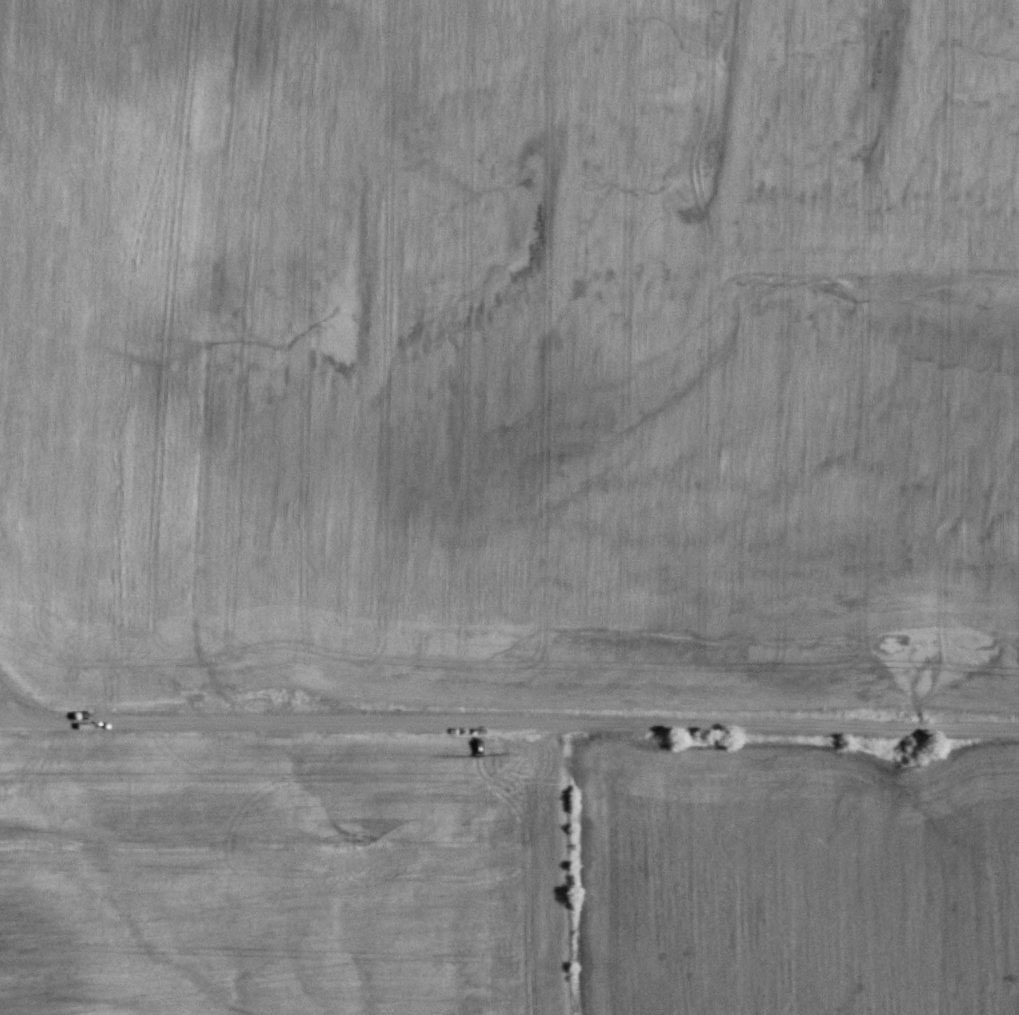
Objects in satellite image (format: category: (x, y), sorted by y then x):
road: (9, 707)
road: (509, 728)

